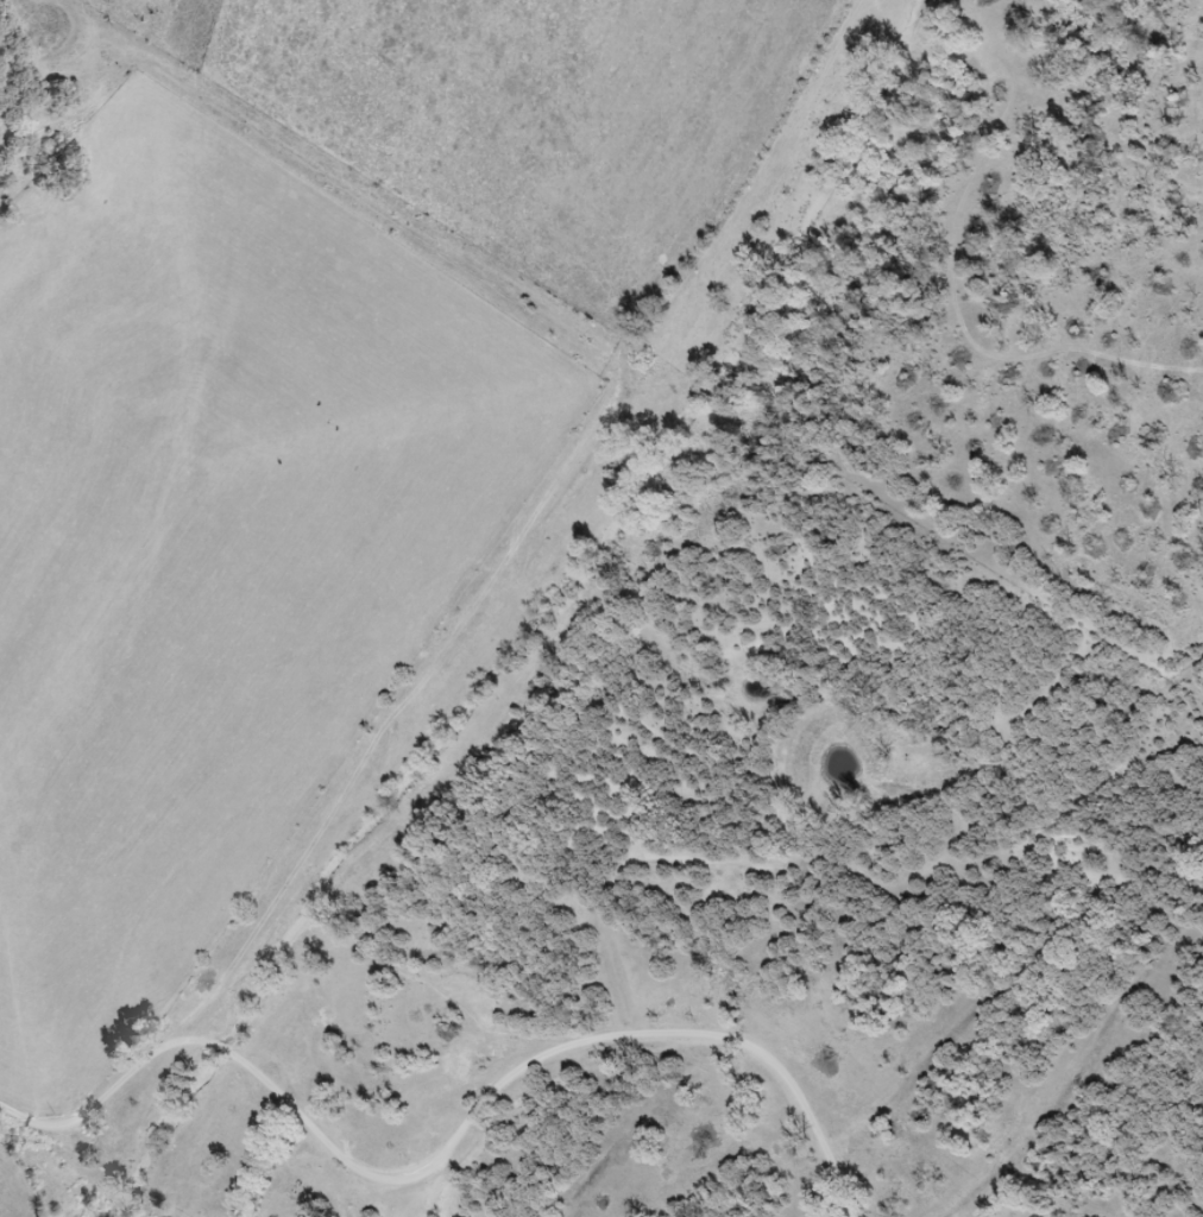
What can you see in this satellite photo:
road: (454, 1137)

